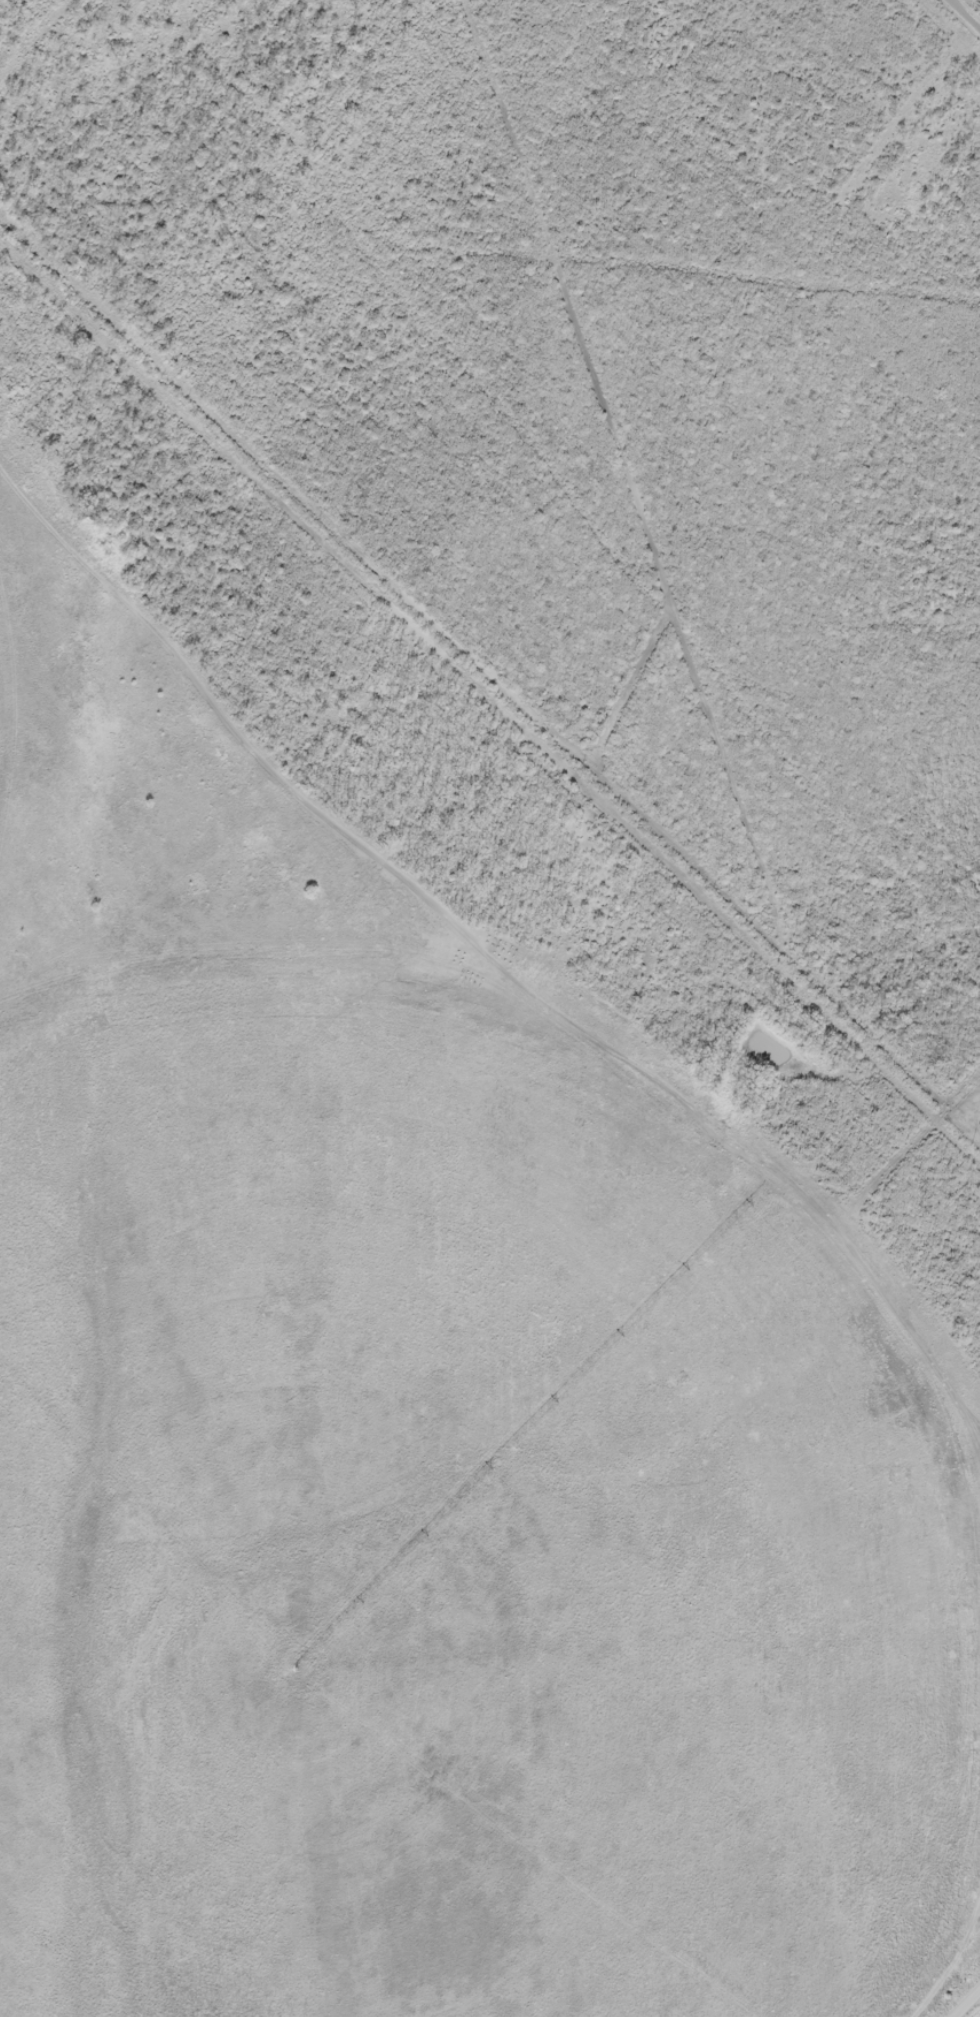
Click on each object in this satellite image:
road: (932, 45)
road: (490, 696)
road: (965, 2001)

